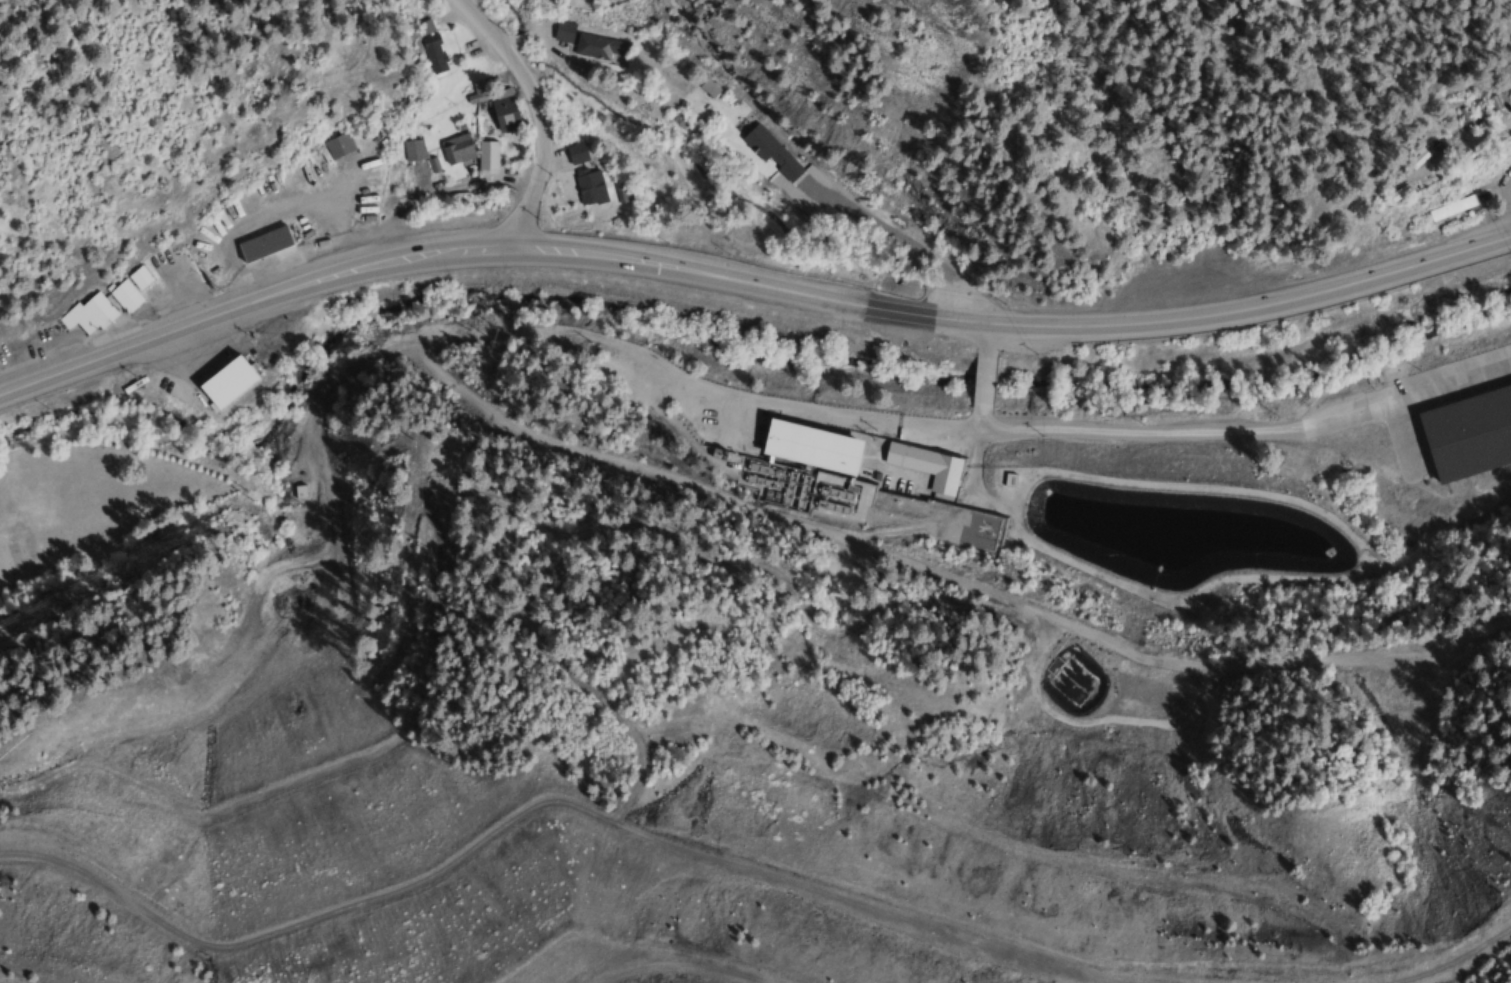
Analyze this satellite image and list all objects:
building: (424, 27)
building: (563, 31)
building: (598, 47)
building: (433, 54)
building: (707, 88)
building: (475, 91)
building: (503, 110)
road: (537, 115)
building: (337, 145)
building: (456, 149)
building: (413, 150)
building: (770, 152)
building: (576, 153)
building: (589, 187)
building: (1397, 194)
building: (1452, 211)
building: (263, 244)
building: (138, 278)
road: (750, 290)
building: (124, 296)
building: (86, 315)
road: (985, 375)
building: (225, 383)
road: (886, 419)
building: (1467, 432)
building: (926, 466)
building: (822, 467)
road: (945, 575)

